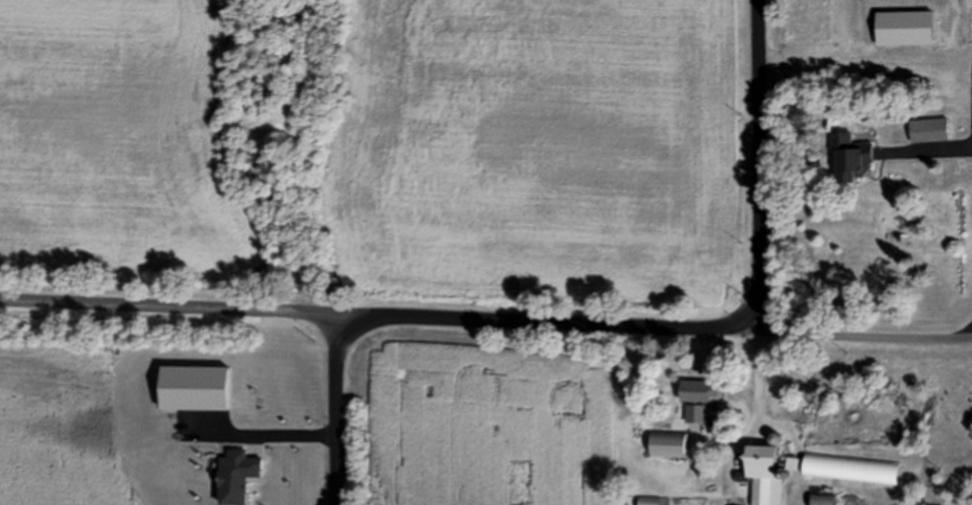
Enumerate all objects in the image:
road: (951, 148)
building: (853, 155)
road: (754, 166)
road: (485, 324)
building: (700, 390)
road: (757, 402)
road: (333, 412)
building: (696, 413)
road: (260, 435)
building: (670, 444)
building: (765, 473)
building: (824, 499)

